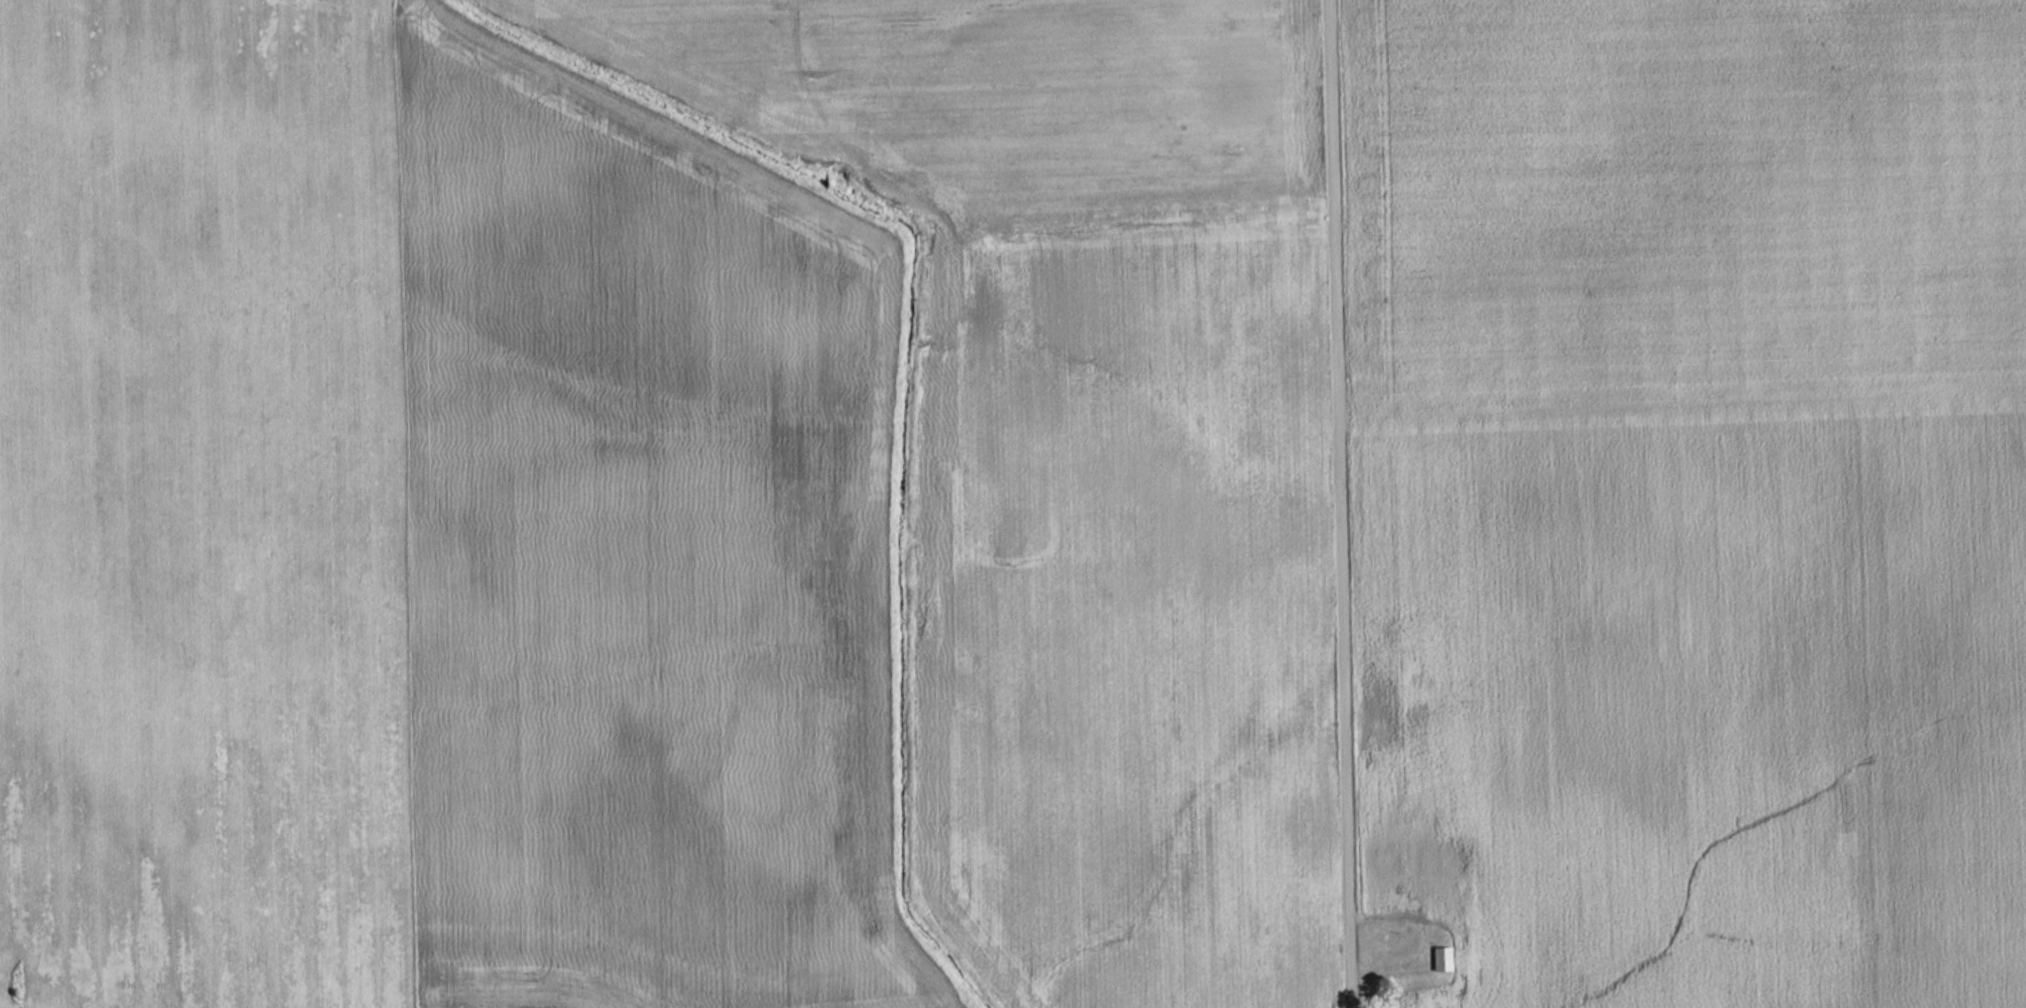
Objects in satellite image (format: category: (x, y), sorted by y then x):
road: (1343, 504)
building: (1442, 958)

